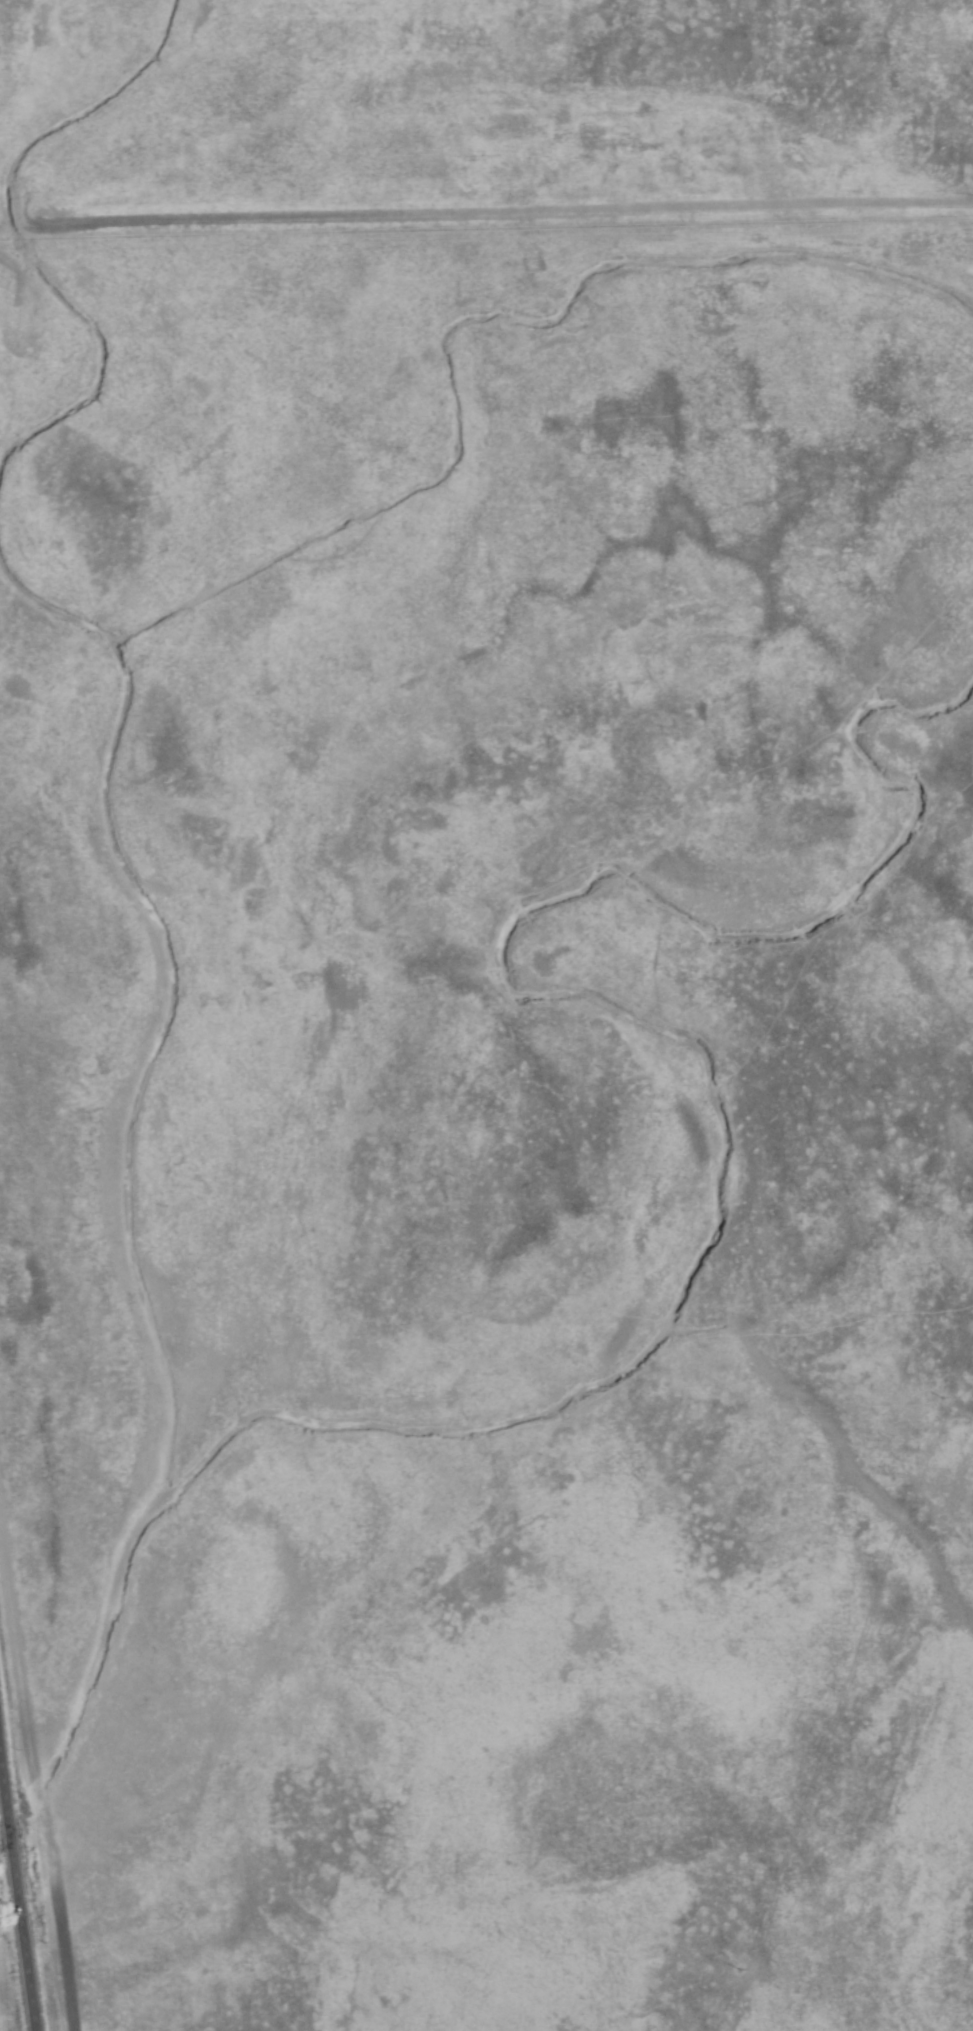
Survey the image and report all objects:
road: (17, 1905)

